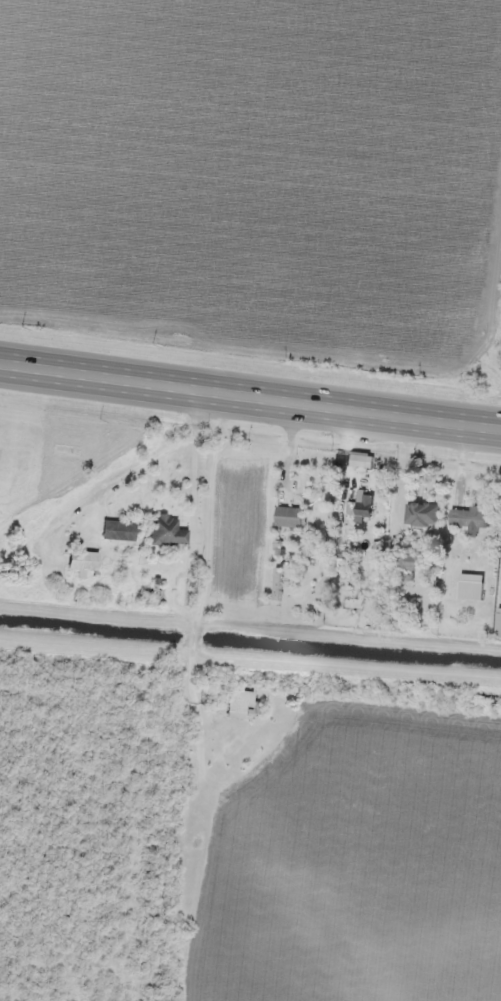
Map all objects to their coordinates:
road: (250, 396)
building: (360, 507)
building: (421, 514)
building: (287, 516)
building: (469, 518)
building: (119, 530)
building: (167, 531)
building: (339, 557)
building: (82, 561)
building: (406, 561)
building: (239, 704)

